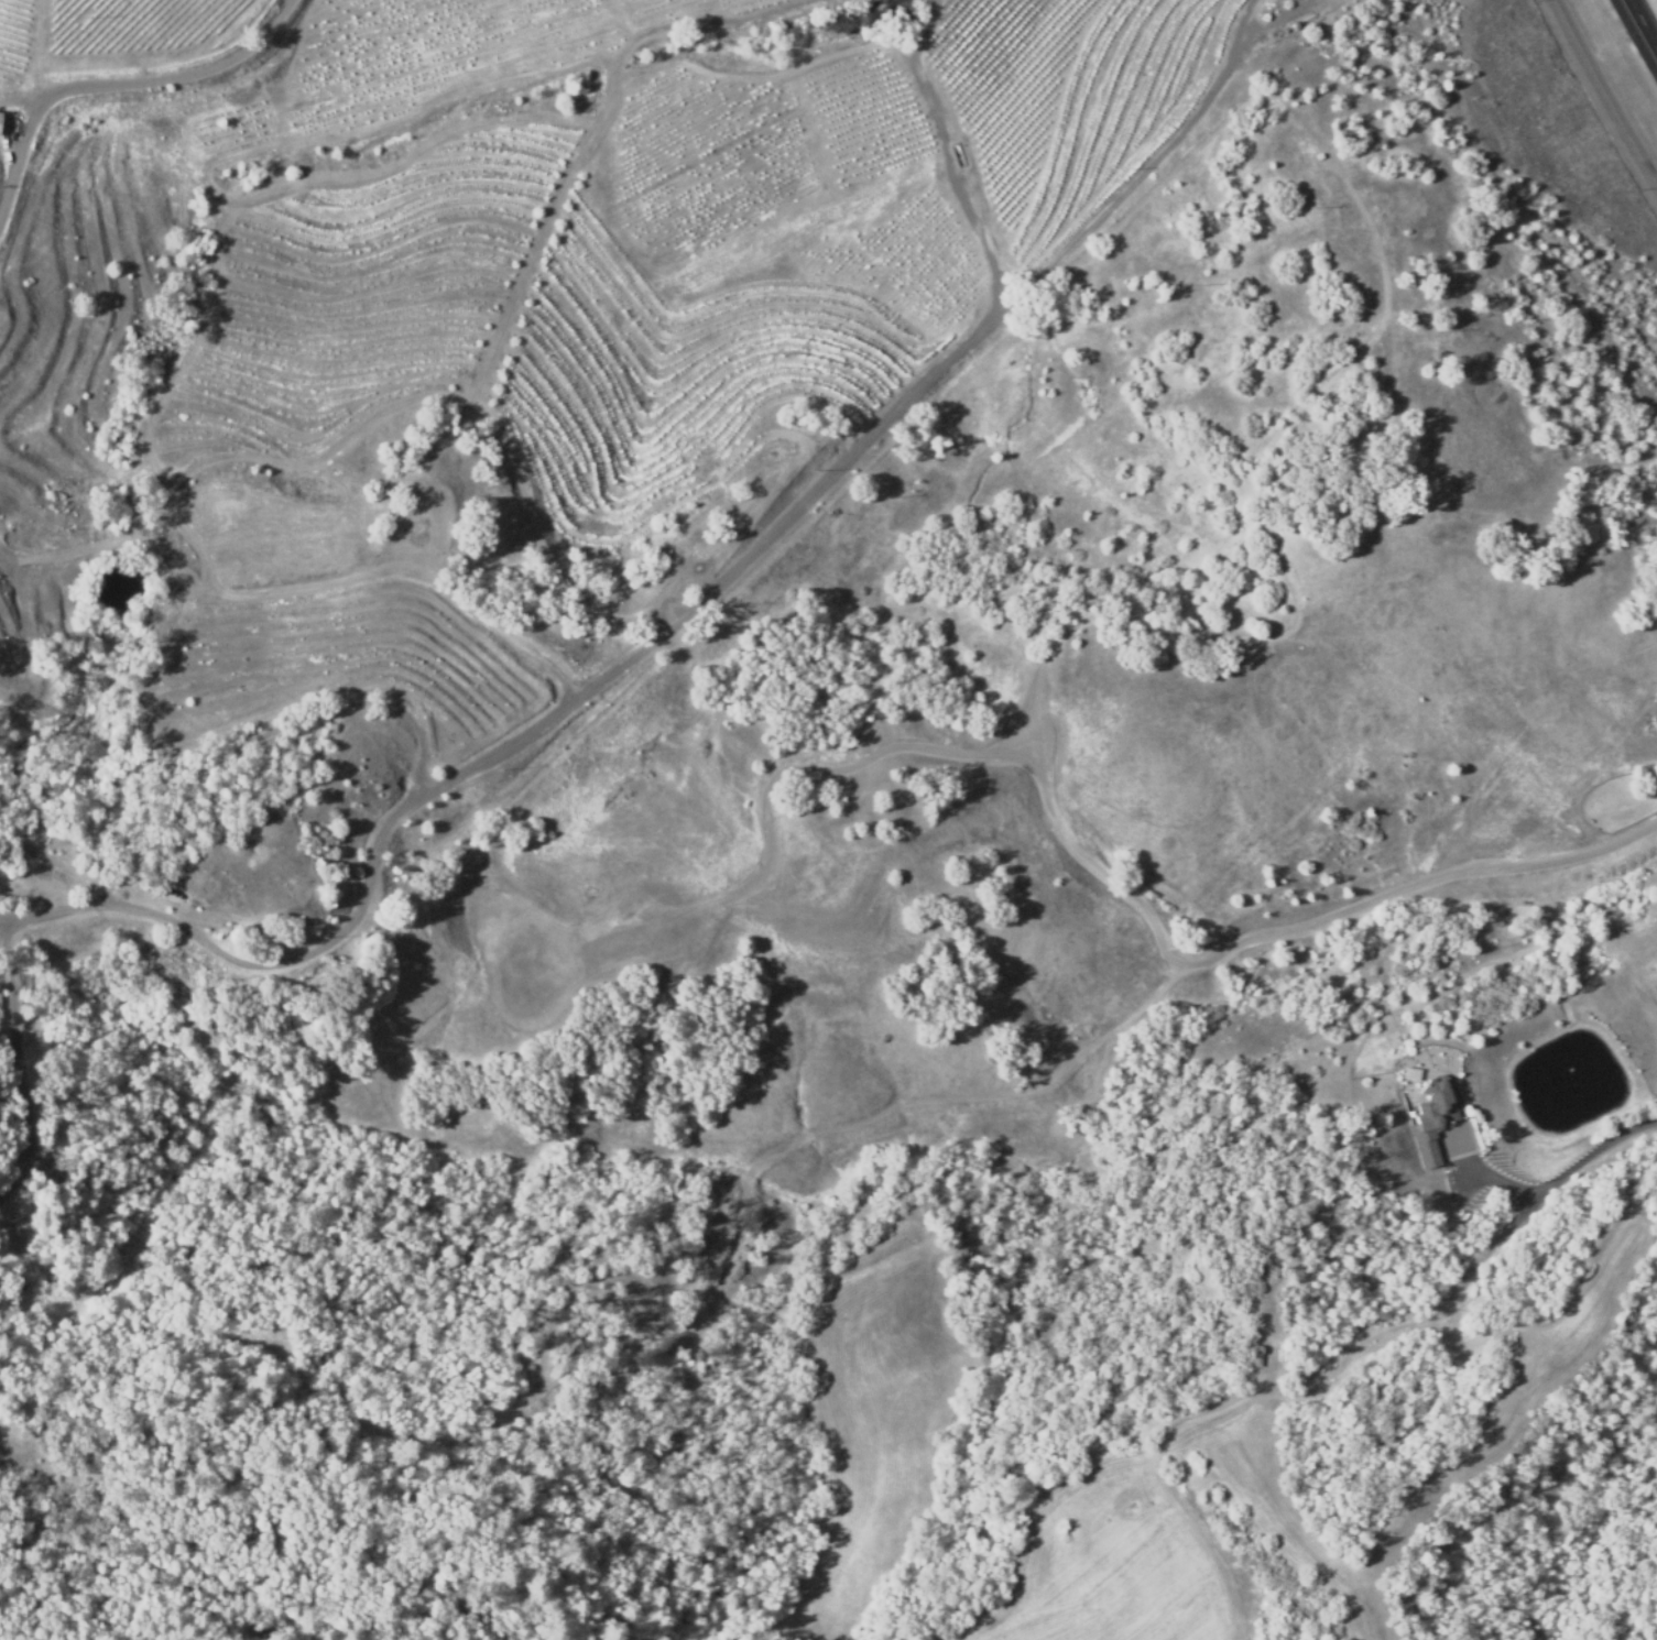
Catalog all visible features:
road: (1645, 19)
road: (129, 85)
road: (1607, 88)
building: (0, 114)
building: (1498, 887)
building: (1408, 1073)
building: (1430, 1116)

